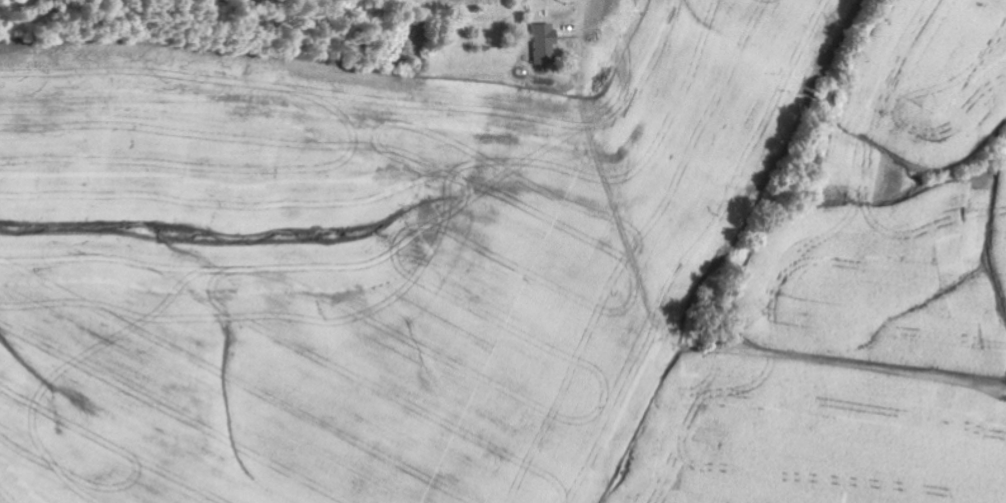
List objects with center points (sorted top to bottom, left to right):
building: (546, 43)

